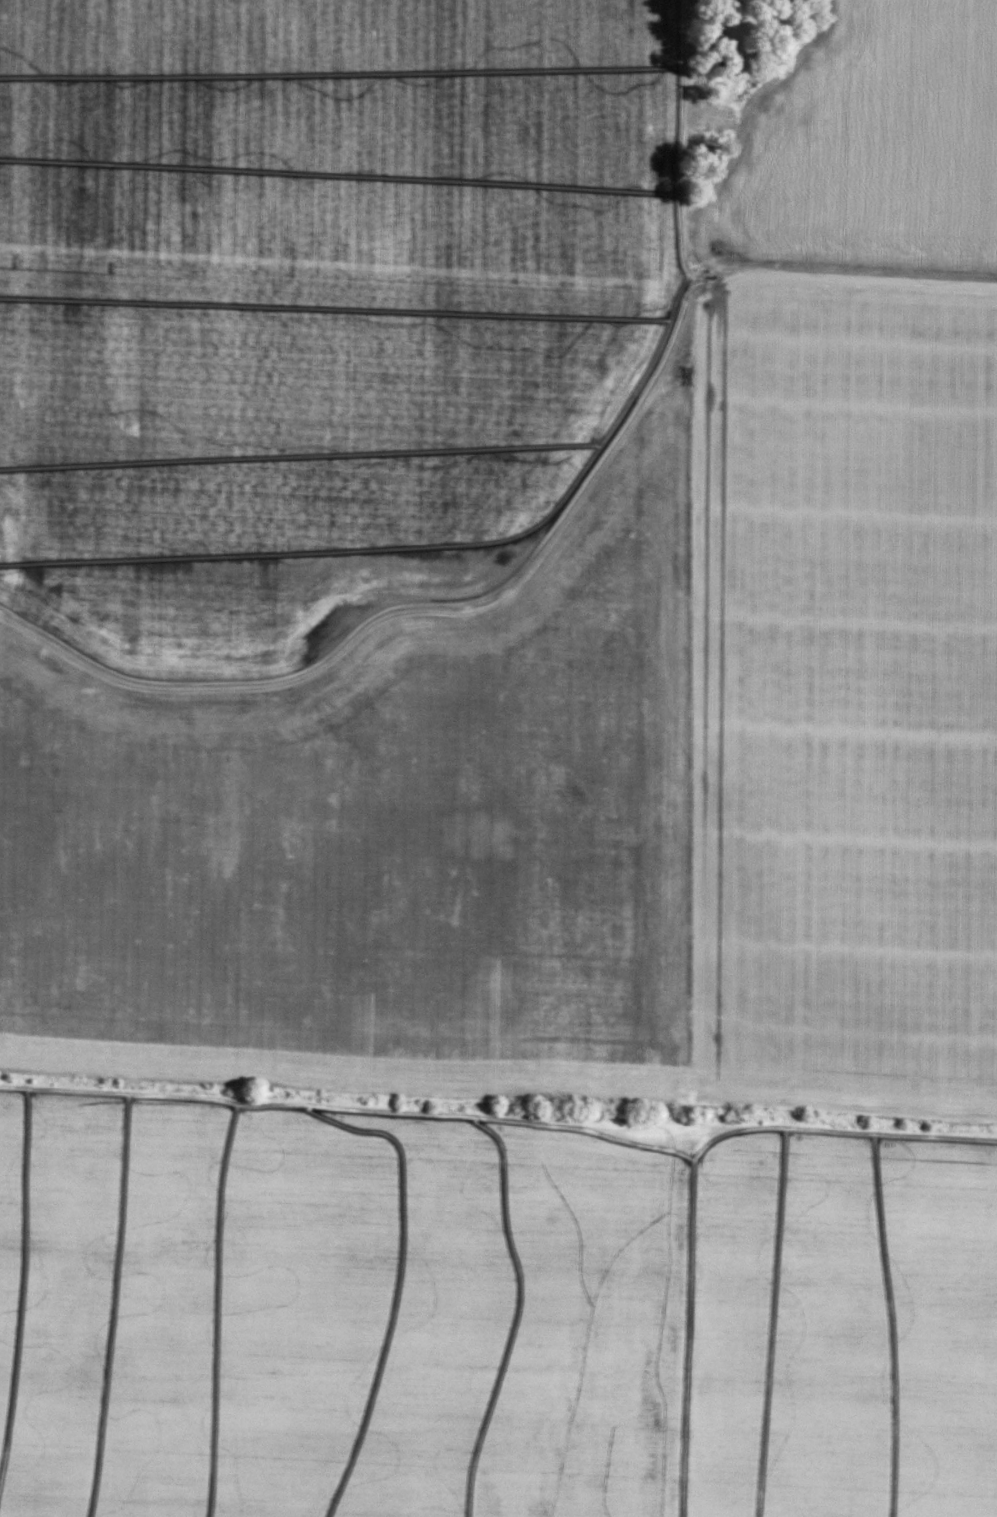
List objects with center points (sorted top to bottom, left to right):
road: (706, 251)

